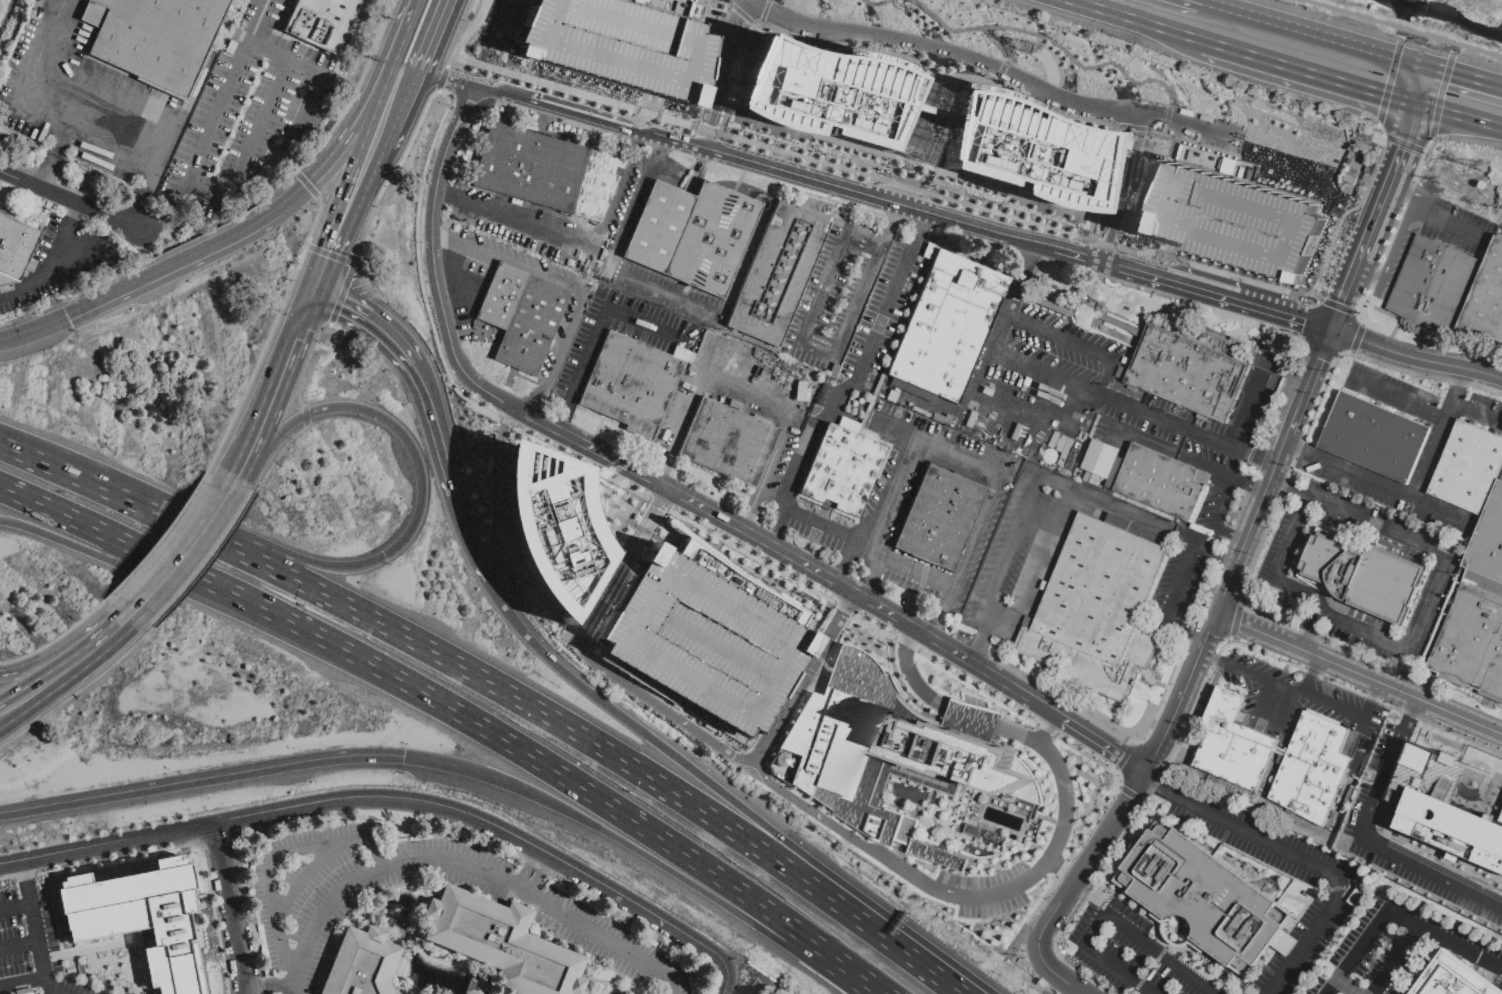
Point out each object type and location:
road: (1199, 1)
road: (415, 3)
road: (875, 4)
road: (712, 5)
parking lot: (693, 9)
road: (764, 11)
road: (741, 14)
road: (499, 20)
road: (1129, 20)
building: (320, 22)
road: (1401, 29)
road: (1400, 33)
road: (1314, 34)
road: (433, 37)
street lamp: (1408, 38)
building: (158, 40)
road: (1049, 41)
road: (458, 44)
road: (995, 44)
road: (501, 45)
building: (617, 46)
parking garage: (617, 46)
road: (396, 48)
road: (1452, 48)
power tower: (1028, 49)
road: (1423, 50)
street lamp: (1457, 52)
road: (1438, 55)
road: (298, 65)
traffic signals: (1427, 66)
road: (995, 69)
street lamp: (454, 70)
road: (526, 70)
road: (1305, 72)
road: (1000, 74)
road: (1464, 77)
road: (970, 78)
street lamp: (513, 81)
road: (1387, 81)
road: (406, 83)
road: (1421, 85)
road: (717, 88)
road: (352, 91)
building: (822, 93)
road: (714, 94)
road: (1438, 96)
street lamp: (565, 97)
road: (948, 97)
parking lot: (89, 101)
traffic signals: (1415, 104)
road: (529, 105)
street lamp: (446, 106)
street lamp: (720, 108)
road: (370, 111)
street lamp: (617, 111)
parking lot: (245, 113)
road: (726, 113)
road: (904, 113)
road: (1458, 116)
road: (383, 118)
road: (1165, 118)
road: (542, 120)
road: (627, 120)
road: (943, 122)
street lamp: (715, 125)
street lamp: (1375, 127)
road: (81, 129)
parking lot: (1198, 130)
street lamp: (687, 132)
road: (917, 136)
road: (562, 137)
street lamp: (724, 140)
street lamp: (1434, 141)
road: (1403, 142)
road: (462, 144)
building: (1021, 152)
road: (1125, 153)
road: (57, 156)
road: (326, 157)
street lamp: (775, 157)
road: (853, 159)
power tower: (1483, 168)
street lamp: (824, 169)
building: (546, 171)
road: (739, 180)
road: (897, 180)
road: (1390, 182)
road: (1104, 183)
street lamp: (875, 184)
road: (1119, 184)
road: (776, 185)
road: (911, 185)
road: (991, 185)
road: (306, 186)
road: (906, 188)
road: (958, 190)
road: (1410, 192)
road: (200, 196)
road: (31, 199)
road: (71, 200)
road: (1113, 201)
street lamp: (1356, 201)
road: (813, 203)
road: (1348, 210)
road: (163, 211)
street lamp: (1399, 211)
street lamp: (980, 215)
road: (343, 217)
building: (1223, 219)
parking garage: (1223, 219)
parking lot: (547, 221)
road: (1452, 223)
building: (658, 227)
street lamp: (1029, 228)
road: (1393, 230)
road: (987, 235)
parking lot: (1433, 235)
road: (572, 238)
building: (712, 239)
street lamp: (415, 242)
street lamp: (1079, 242)
road: (1395, 246)
street lamp: (1338, 248)
building: (15, 249)
road: (329, 255)
road: (189, 256)
street lamp: (1131, 257)
road: (617, 258)
parking lot: (66, 263)
street lamp: (294, 264)
street lamp: (852, 265)
street lamp: (1377, 265)
road: (56, 268)
road: (1175, 269)
building: (1409, 273)
building: (777, 275)
building: (1425, 280)
road: (576, 286)
building: (1450, 291)
traffic signals: (316, 292)
parking lot: (670, 294)
parking lot: (839, 294)
road: (1348, 294)
road: (341, 296)
street lamp: (1313, 298)
building: (1485, 298)
street lamp: (425, 303)
street lamp: (1353, 304)
street lamp: (1356, 313)
traffic signals: (66, 315)
building: (522, 316)
road: (371, 317)
road: (1397, 317)
road: (812, 321)
building: (946, 327)
road: (1392, 329)
traffic signals: (1335, 330)
parking lot: (877, 332)
road: (34, 333)
parking lot: (565, 335)
street lamp: (822, 336)
road: (1062, 336)
road: (1355, 336)
road: (267, 337)
road: (596, 337)
building: (1207, 337)
parking lot: (661, 342)
street lamp: (1339, 356)
road: (1417, 359)
building: (1186, 373)
road: (508, 379)
road: (527, 380)
street lamp: (513, 384)
building: (630, 384)
road: (280, 385)
road: (848, 389)
building: (1053, 389)
building: (801, 392)
road: (1106, 395)
parking lot: (760, 396)
road: (1458, 396)
road: (755, 400)
road: (1040, 401)
road: (298, 402)
road: (1255, 407)
parking lot: (1106, 409)
road: (317, 413)
road: (1478, 415)
road: (594, 416)
road: (597, 427)
street lamp: (366, 428)
road: (437, 428)
building: (1373, 437)
building: (727, 442)
road: (1149, 442)
street lamp: (294, 443)
road: (271, 446)
road: (1299, 450)
street lamp: (572, 456)
parking lot: (1322, 459)
road: (1428, 465)
building: (1467, 468)
building: (842, 471)
road: (1277, 471)
road: (1001, 474)
parking lot: (889, 475)
road: (891, 479)
street lamp: (618, 480)
building: (1157, 481)
road: (1285, 481)
road: (1250, 484)
street lamp: (261, 490)
road: (1290, 490)
road: (728, 493)
road: (745, 494)
road: (639, 495)
road: (678, 497)
road: (1221, 503)
street lamp: (672, 508)
road: (1443, 509)
parking lot: (942, 515)
road: (595, 517)
street lamp: (180, 518)
building: (938, 518)
road: (626, 521)
building: (547, 525)
road: (649, 534)
road: (845, 535)
street lamp: (720, 536)
road: (68, 537)
road: (409, 537)
road: (1230, 538)
road: (469, 539)
road: (156, 541)
building: (1486, 549)
road: (187, 552)
road: (1218, 554)
traffic signals: (388, 559)
street lamp: (763, 559)
road: (207, 561)
road: (1280, 567)
parking lot: (1271, 574)
road: (1438, 575)
building: (1362, 576)
parking lot: (1015, 579)
road: (872, 581)
street lamp: (805, 584)
road: (1032, 584)
road: (781, 592)
road: (807, 603)
road: (1172, 603)
building: (1095, 609)
street lamp: (858, 614)
road: (944, 616)
road: (994, 618)
road: (1234, 620)
road: (1315, 631)
street lamp: (151, 634)
building: (704, 635)
street lamp: (893, 635)
road: (52, 640)
road: (415, 643)
building: (1471, 643)
road: (982, 647)
road: (66, 655)
road: (592, 658)
road: (1215, 659)
street lamp: (942, 664)
road: (1316, 667)
road: (64, 668)
road: (1361, 673)
road: (802, 676)
road: (914, 676)
road: (898, 682)
road: (1309, 685)
road: (412, 690)
street lamp: (986, 690)
road: (1165, 691)
road: (76, 692)
road: (1303, 692)
road: (1376, 693)
road: (1184, 694)
road: (1194, 697)
road: (1267, 700)
parking lot: (1299, 702)
road: (1285, 713)
road: (972, 717)
street lamp: (1030, 718)
street lamp: (517, 724)
road: (1049, 731)
road: (643, 733)
road: (1359, 734)
building: (1232, 743)
street lamp: (1075, 745)
street lamp: (1027, 752)
building: (887, 754)
building: (1416, 757)
traffic signals: (403, 758)
road: (1122, 758)
building: (1310, 768)
road: (200, 781)
street lamp: (625, 793)
road: (1128, 793)
road: (374, 797)
parking lot: (1360, 815)
building: (1500, 817)
building: (1450, 828)
building: (970, 829)
road: (606, 832)
road: (172, 848)
road: (276, 860)
road: (1308, 862)
road: (466, 866)
road: (529, 870)
road: (1085, 870)
road: (1065, 871)
road: (25, 875)
road: (543, 877)
road: (306, 878)
parking lot: (1342, 883)
parking lot: (983, 890)
road: (975, 896)
building: (1202, 897)
road: (15, 905)
road: (233, 907)
road: (1111, 918)
building: (140, 919)
road: (415, 921)
road: (414, 936)
road: (887, 936)
road: (1371, 937)
road: (407, 939)
road: (400, 943)
building: (501, 943)
road: (19, 946)
road: (1463, 948)
road: (38, 949)
parking lot: (1400, 949)
parking lot: (1132, 953)
road: (400, 957)
road: (1400, 961)
building: (361, 964)
road: (834, 967)
road: (616, 972)
road: (727, 972)
building: (1450, 978)
road: (590, 980)
road: (1066, 981)
road: (22, 984)
road: (270, 988)
road: (643, 991)
road: (493, 992)

